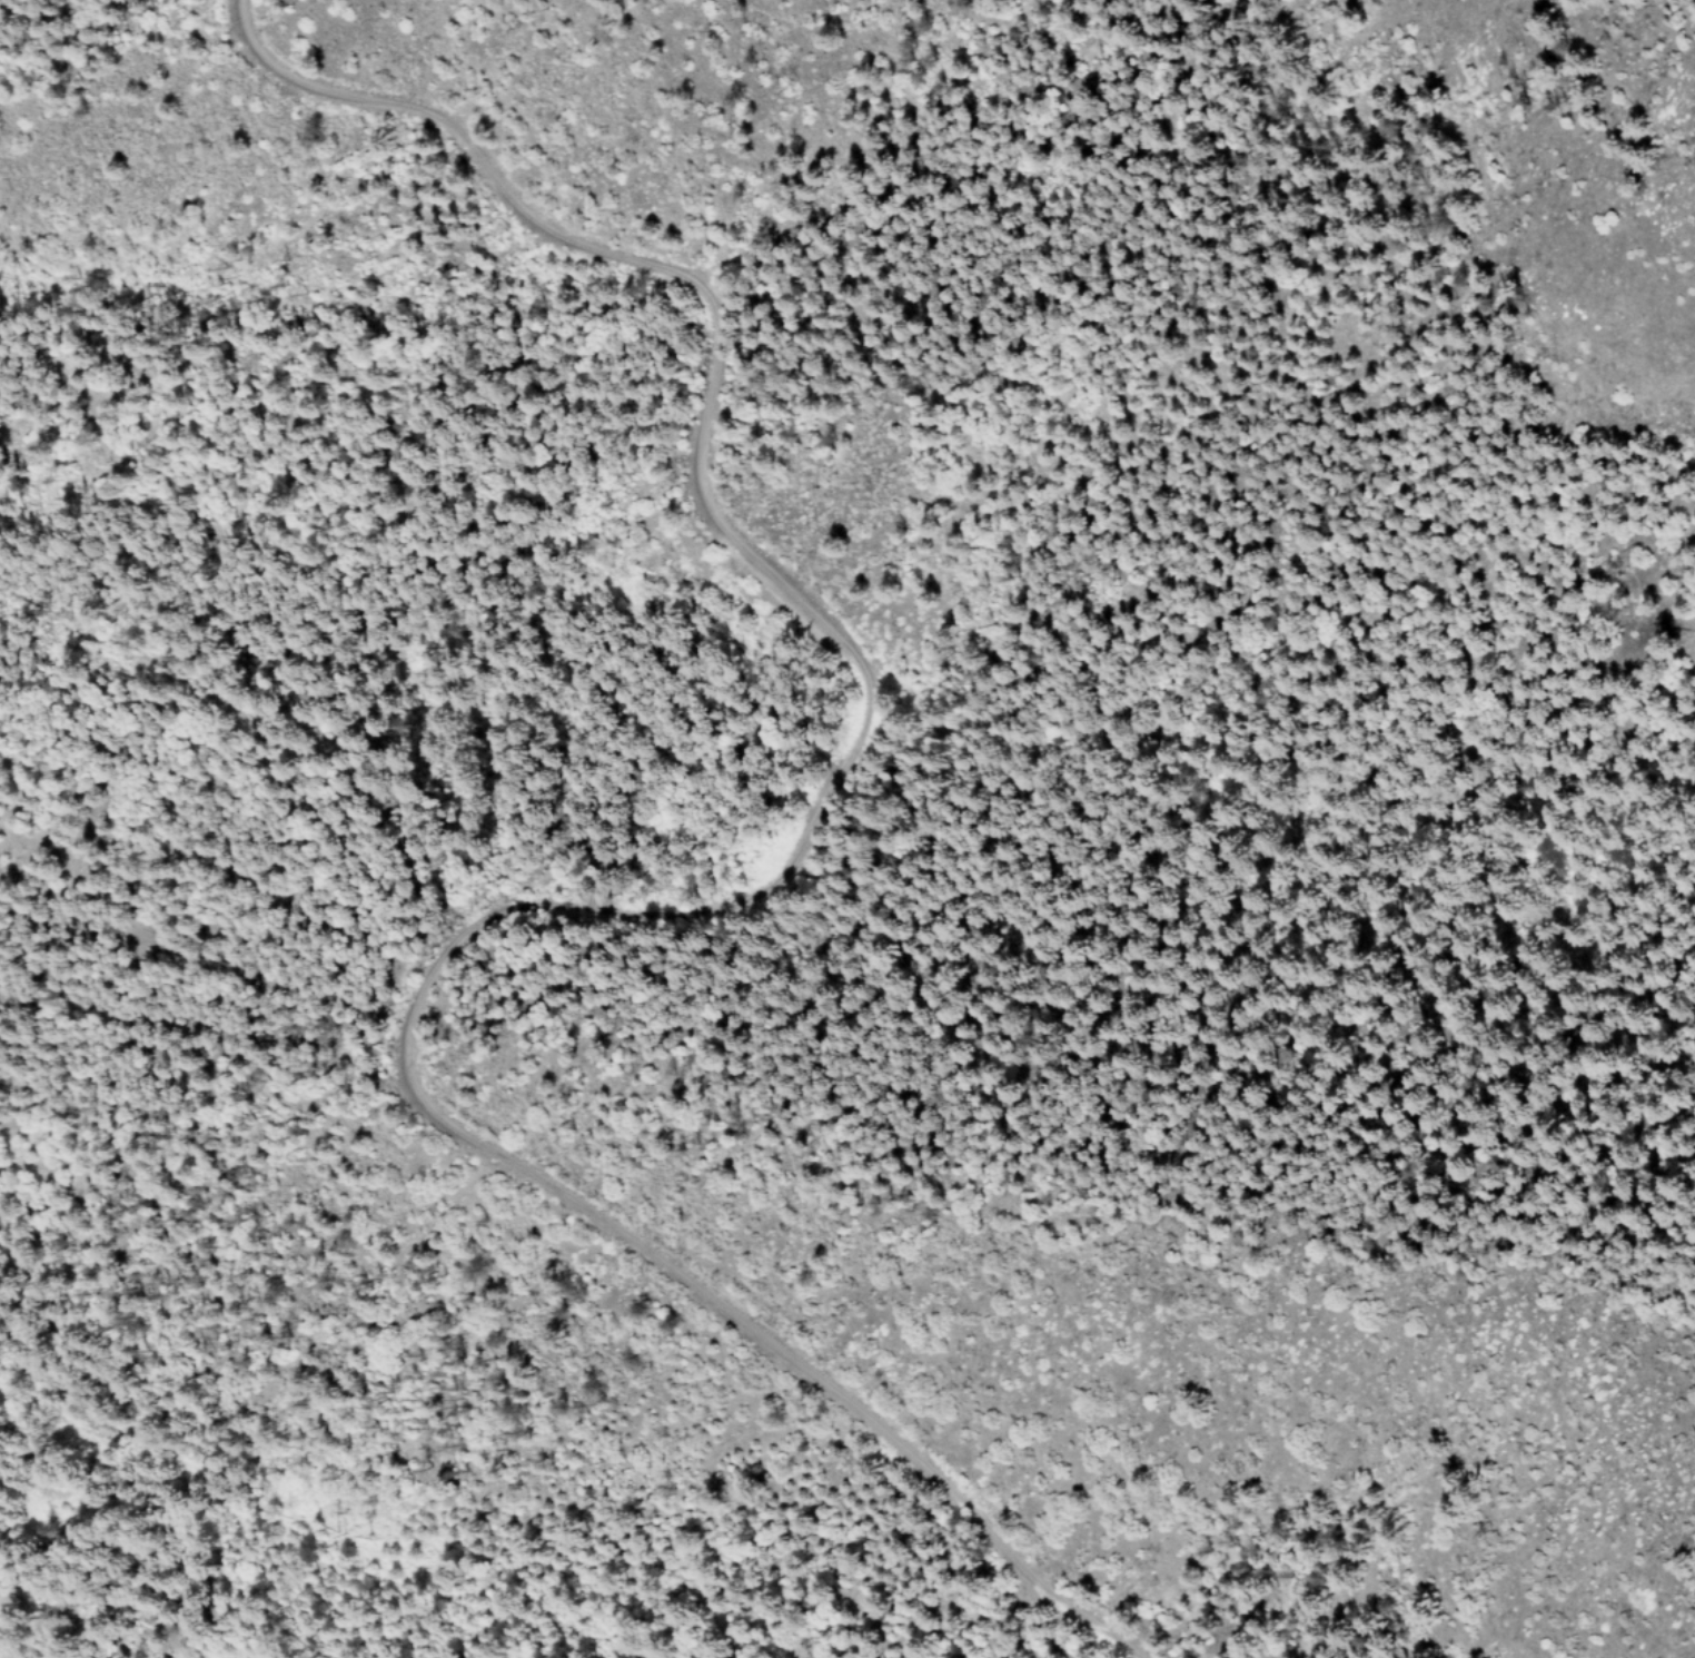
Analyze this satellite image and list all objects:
road: (661, 872)

